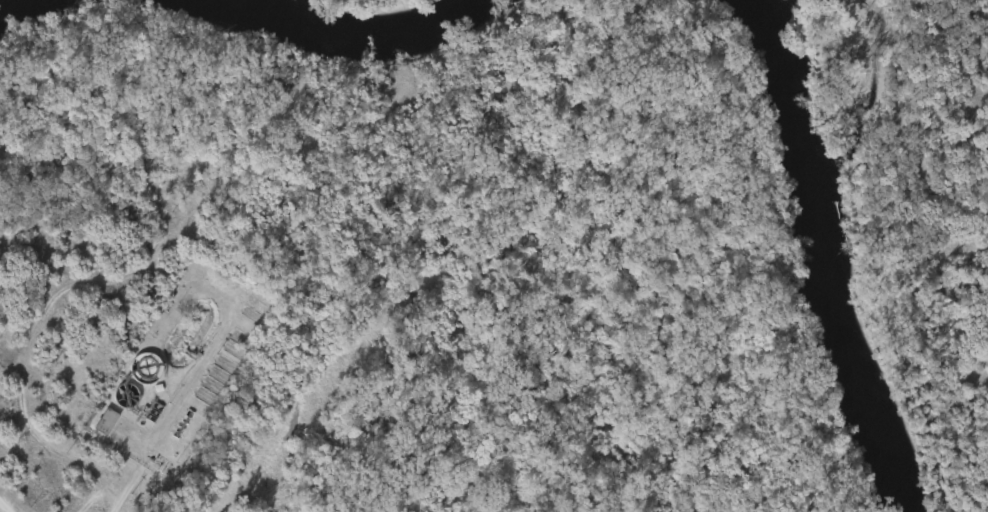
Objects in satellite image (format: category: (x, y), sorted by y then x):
river: (8, 4)
river: (352, 28)
river: (828, 254)
building: (103, 422)

